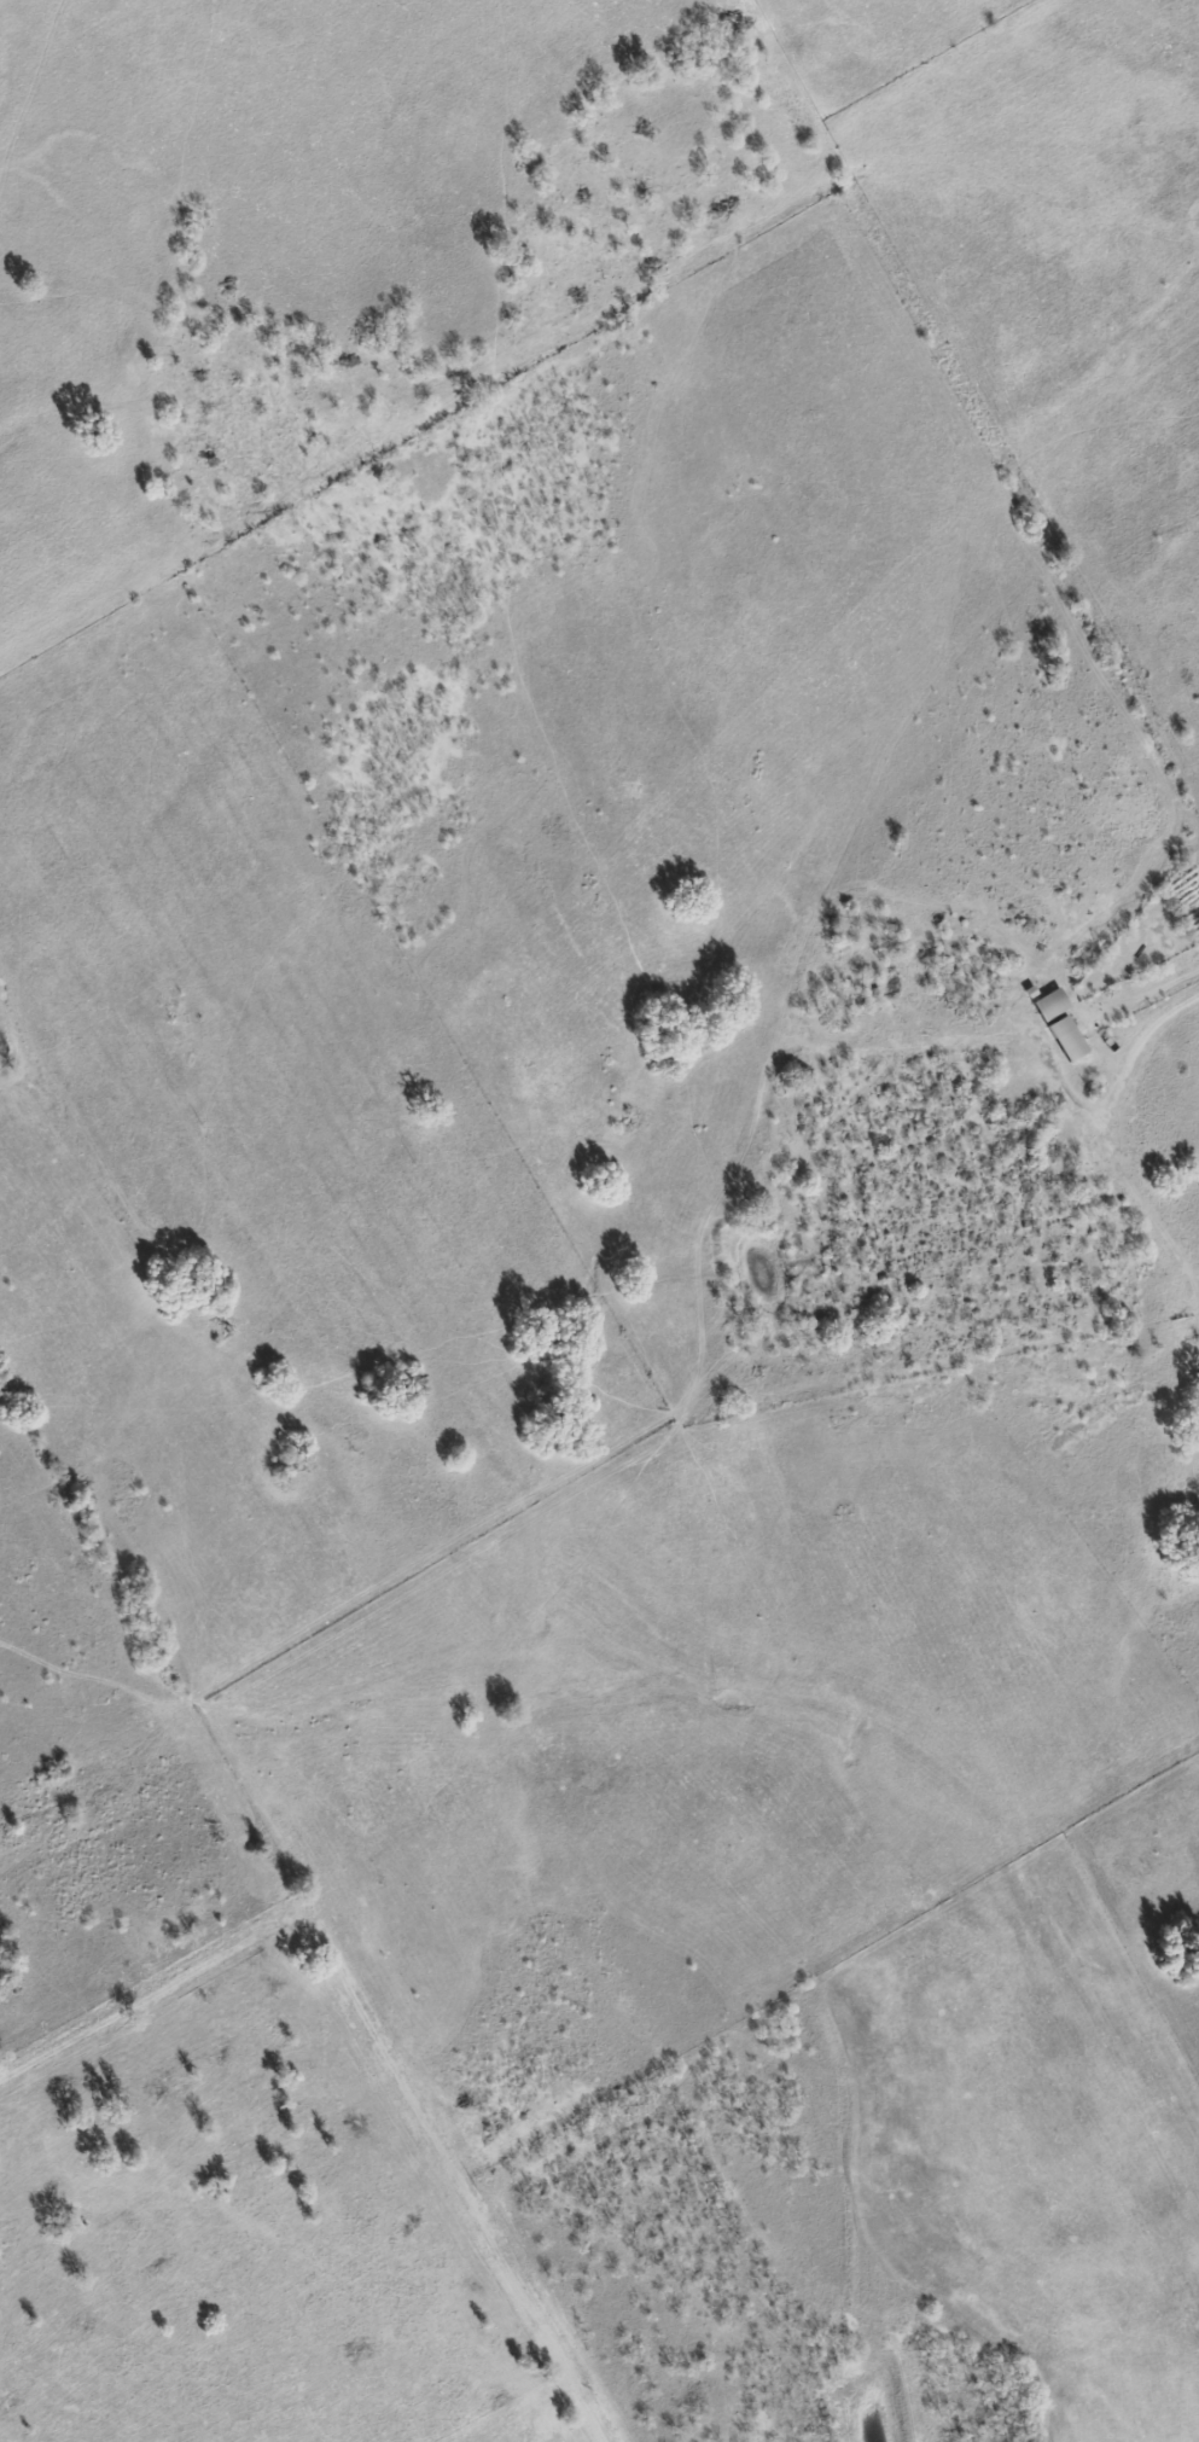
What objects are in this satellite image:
road: (1146, 1023)

